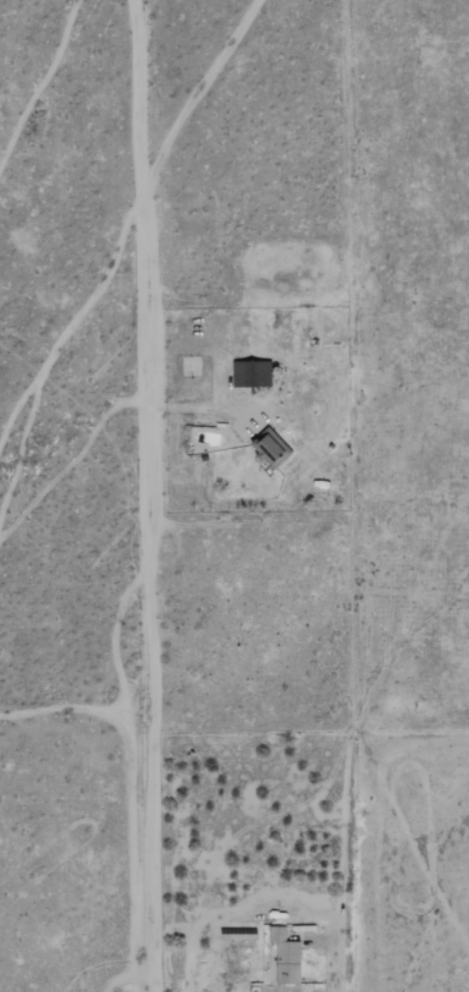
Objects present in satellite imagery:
building: (251, 374)
road: (204, 408)
building: (269, 448)
road: (145, 496)
road: (269, 894)
building: (285, 957)

